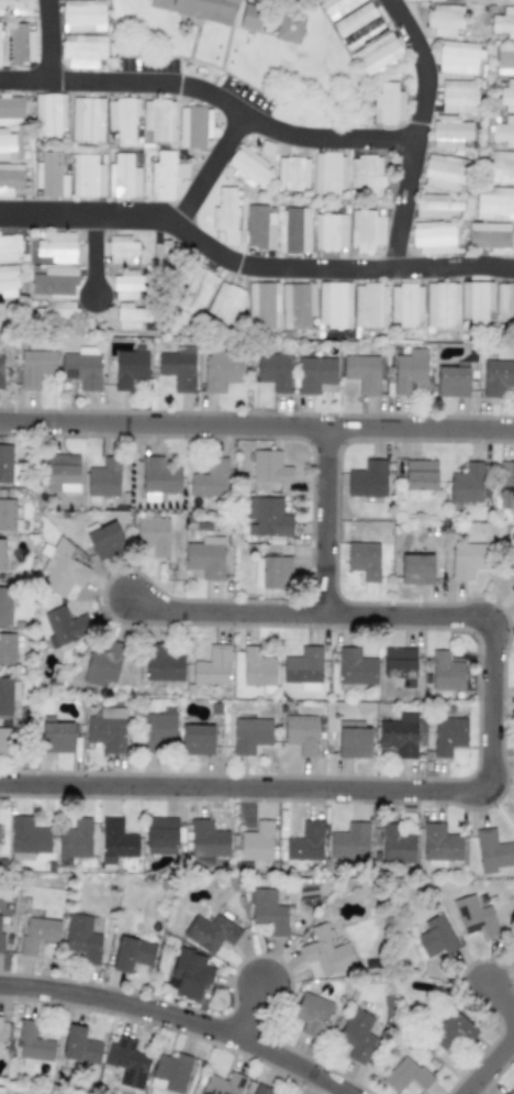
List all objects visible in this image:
building: (437, 0)
building: (337, 7)
building: (14, 8)
building: (199, 9)
building: (249, 14)
building: (82, 15)
building: (445, 19)
building: (503, 22)
building: (358, 25)
building: (288, 27)
road: (47, 40)
building: (3, 44)
building: (22, 44)
building: (83, 51)
building: (376, 54)
building: (459, 57)
building: (504, 58)
road: (211, 93)
building: (458, 96)
building: (507, 96)
building: (388, 103)
building: (11, 111)
building: (49, 115)
building: (122, 117)
building: (87, 119)
building: (158, 119)
building: (193, 126)
road: (416, 129)
building: (449, 131)
building: (504, 131)
building: (5, 144)
building: (249, 166)
building: (500, 166)
road: (208, 167)
building: (445, 172)
building: (328, 173)
building: (292, 174)
building: (88, 175)
building: (165, 175)
building: (366, 175)
building: (51, 176)
building: (123, 177)
building: (10, 178)
building: (494, 202)
building: (437, 207)
building: (226, 213)
building: (259, 228)
building: (292, 230)
building: (365, 230)
building: (329, 232)
building: (489, 236)
building: (433, 237)
building: (57, 246)
building: (9, 247)
building: (122, 250)
road: (93, 253)
building: (161, 256)
road: (250, 265)
building: (8, 280)
building: (54, 281)
building: (126, 285)
building: (194, 289)
building: (476, 301)
building: (505, 302)
building: (442, 303)
building: (226, 305)
building: (262, 305)
building: (297, 305)
building: (334, 305)
building: (405, 305)
building: (370, 306)
building: (58, 309)
building: (130, 316)
building: (0, 367)
building: (35, 367)
building: (178, 367)
building: (130, 368)
building: (81, 371)
building: (222, 371)
building: (409, 371)
building: (272, 372)
building: (362, 373)
building: (314, 374)
building: (498, 377)
building: (452, 379)
road: (256, 426)
building: (5, 463)
building: (269, 467)
building: (62, 473)
building: (421, 475)
building: (159, 476)
building: (103, 477)
building: (210, 478)
building: (368, 479)
building: (506, 479)
building: (467, 483)
building: (7, 513)
building: (268, 516)
road: (325, 519)
building: (153, 534)
building: (104, 540)
building: (2, 554)
building: (205, 557)
building: (364, 560)
building: (467, 560)
building: (417, 567)
building: (511, 567)
building: (63, 568)
building: (271, 572)
building: (512, 587)
building: (64, 626)
building: (7, 649)
building: (161, 664)
building: (400, 664)
building: (101, 665)
building: (212, 666)
building: (355, 667)
building: (303, 668)
building: (258, 670)
building: (446, 672)
building: (4, 696)
building: (107, 729)
building: (158, 730)
building: (300, 733)
building: (249, 734)
building: (448, 734)
building: (56, 736)
building: (398, 737)
building: (197, 739)
building: (353, 739)
building: (4, 741)
road: (491, 764)
building: (159, 836)
building: (26, 838)
building: (76, 839)
building: (206, 839)
building: (115, 841)
building: (349, 841)
building: (256, 842)
building: (305, 842)
building: (396, 844)
building: (439, 844)
building: (492, 849)
building: (267, 910)
building: (474, 916)
building: (210, 931)
building: (1, 933)
building: (37, 933)
building: (436, 937)
building: (82, 938)
building: (513, 947)
building: (325, 951)
building: (132, 953)
building: (188, 973)
road: (499, 995)
building: (315, 1007)
road: (252, 1012)
road: (180, 1017)
building: (0, 1021)
building: (451, 1030)
building: (355, 1034)
building: (33, 1042)
building: (79, 1046)
building: (126, 1061)
road: (488, 1064)
building: (169, 1072)
building: (405, 1074)
building: (222, 1084)
building: (261, 1090)
building: (512, 1092)

